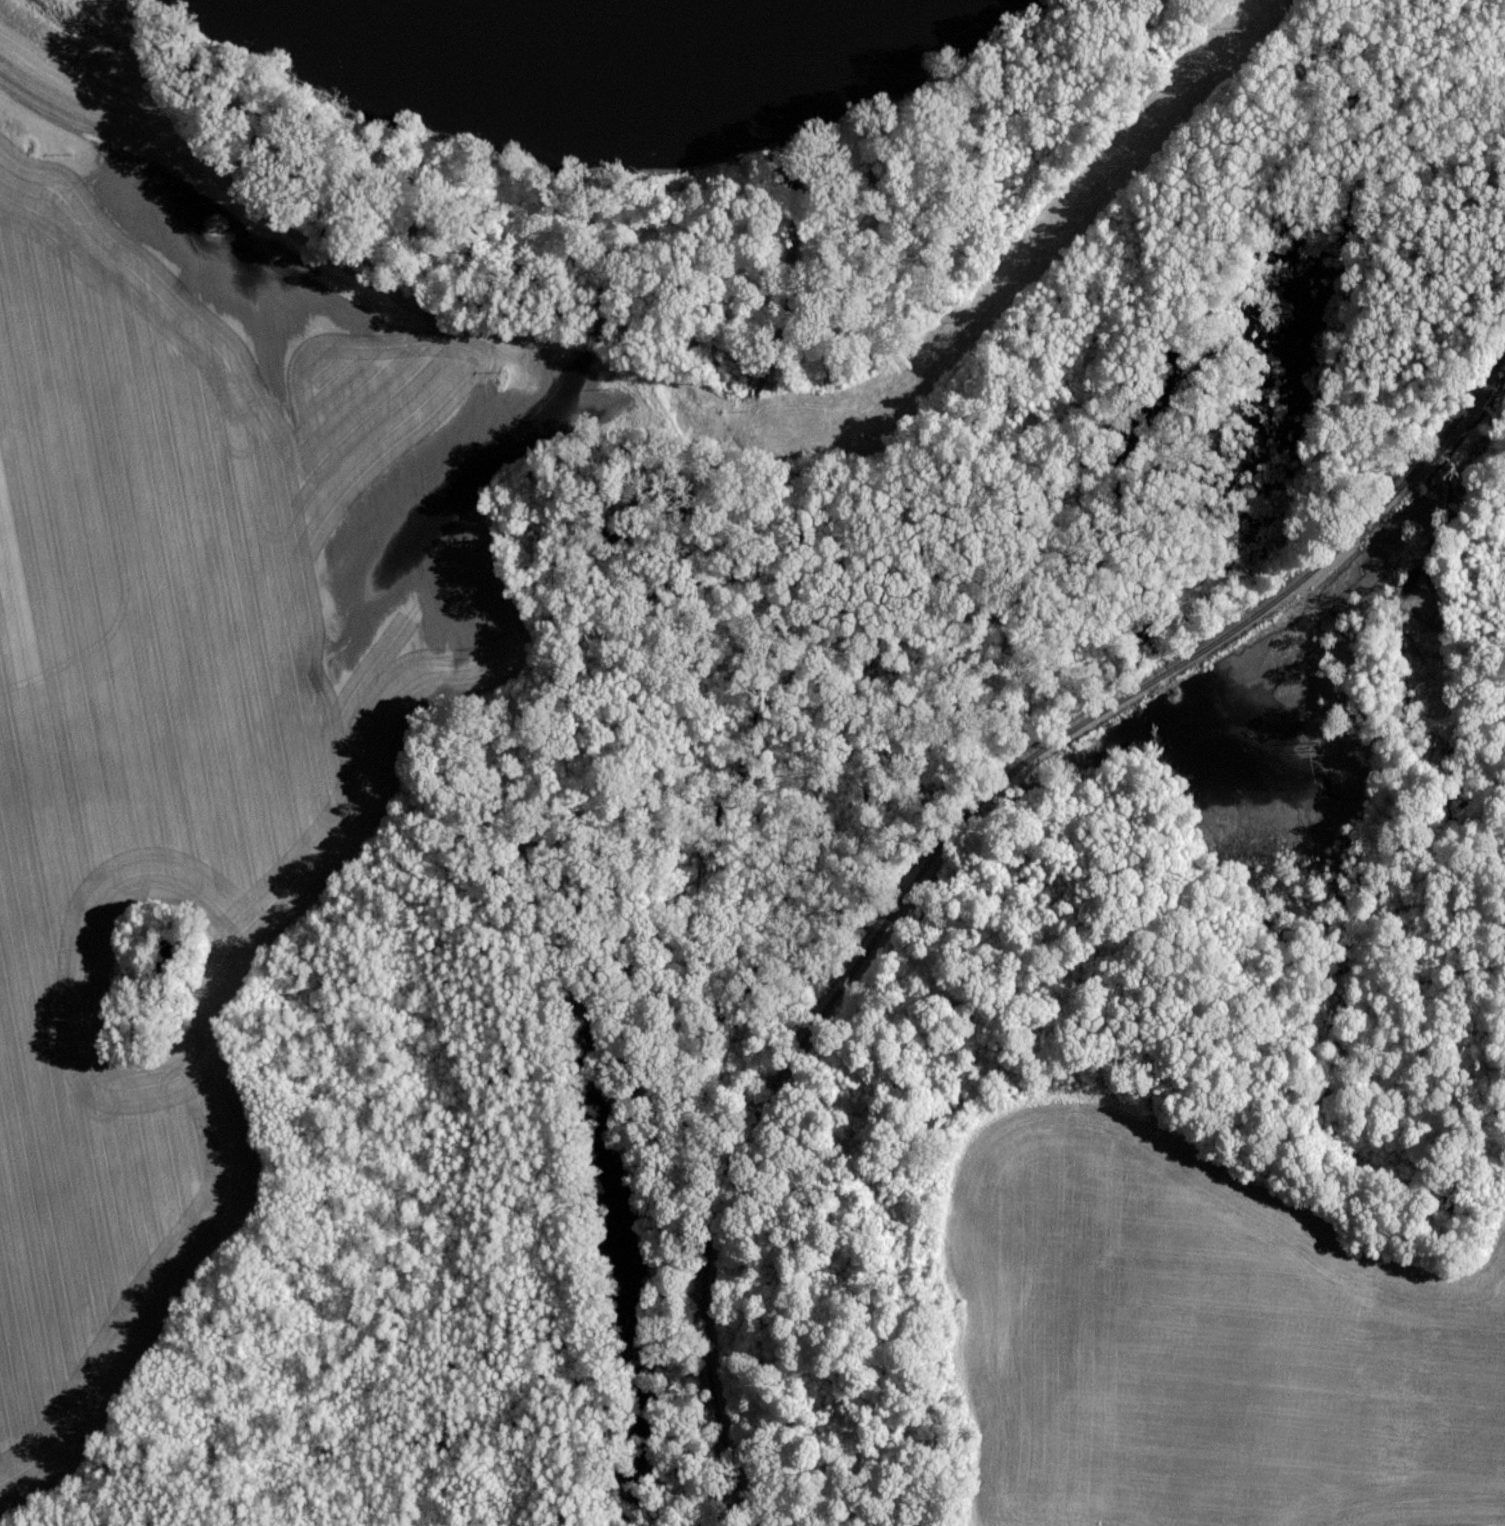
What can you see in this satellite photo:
river: (627, 25)
railway: (939, 851)

